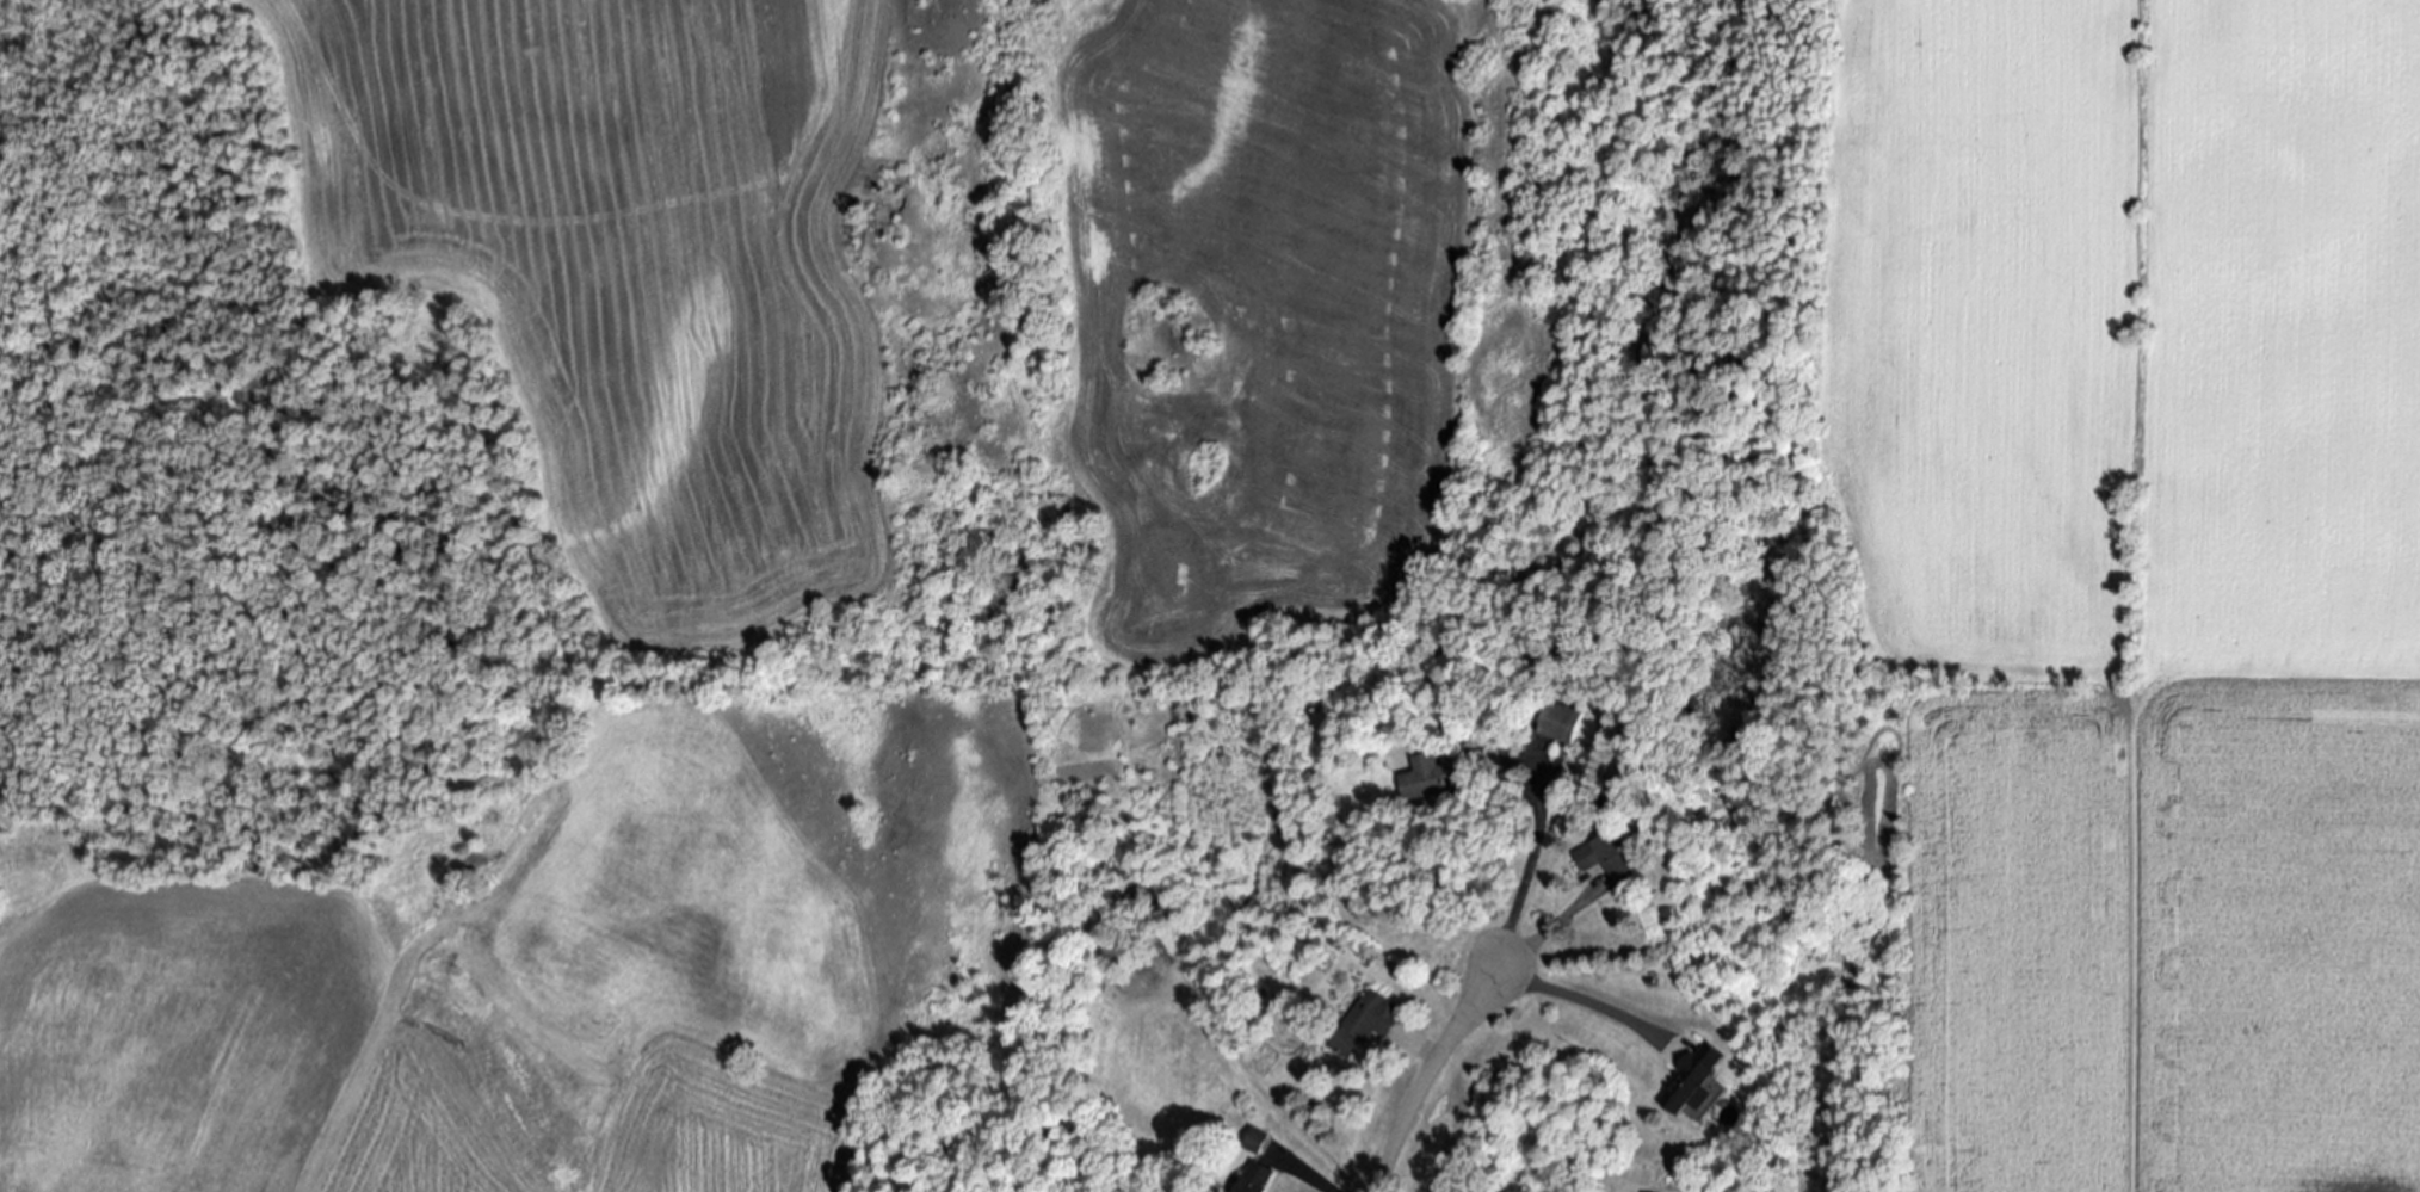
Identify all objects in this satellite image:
building: (1563, 723)
building: (1436, 774)
building: (1610, 858)
road: (1521, 876)
road: (1531, 984)
building: (1368, 1021)
road: (1420, 1052)
road: (1424, 1076)
building: (1694, 1079)
building: (1257, 1176)
road: (1315, 1182)
road: (1632, 1191)

